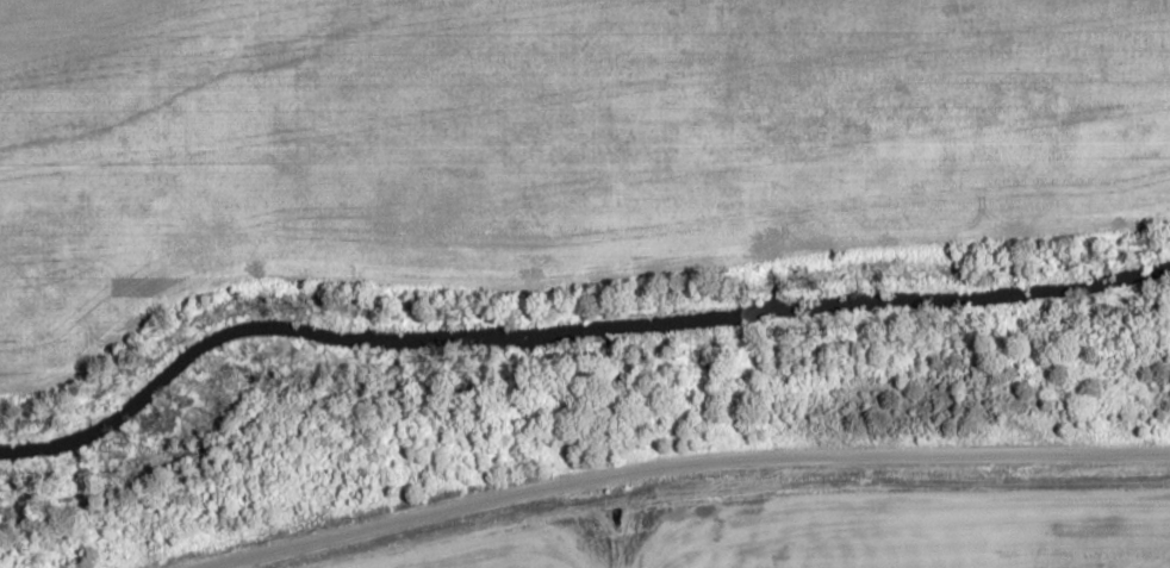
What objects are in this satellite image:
road: (689, 464)

